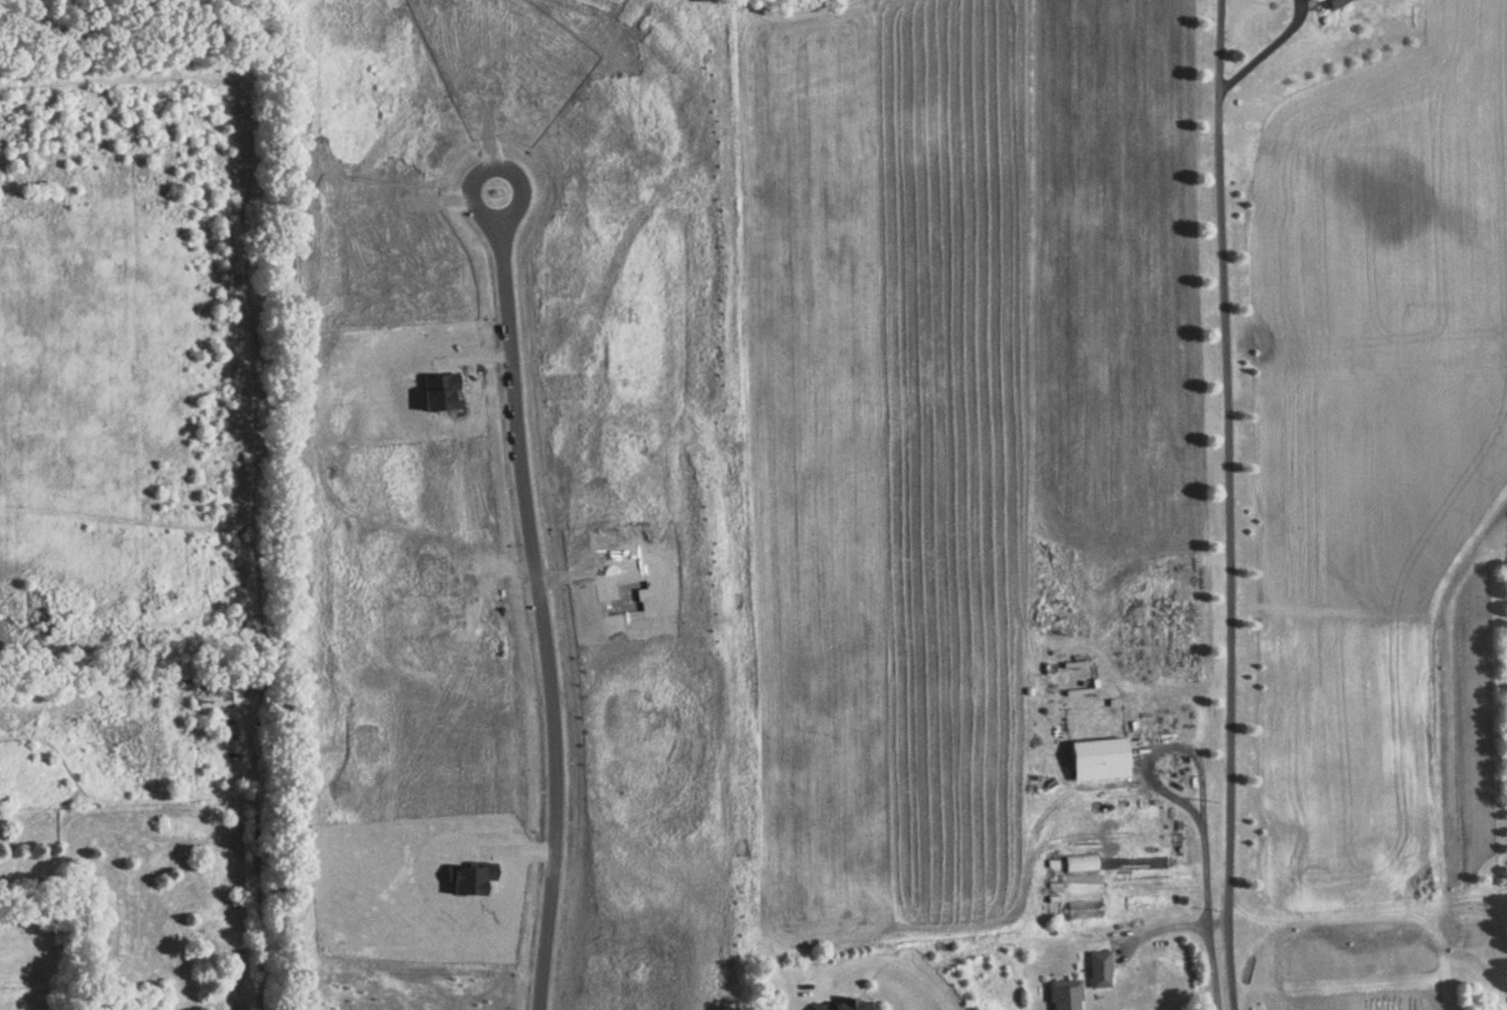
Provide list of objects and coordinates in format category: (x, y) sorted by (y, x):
building: (1331, 3)
road: (1264, 49)
road: (1217, 64)
road: (493, 163)
road: (1227, 569)
road: (542, 613)
building: (211, 693)
building: (1096, 759)
road: (1153, 787)
building: (1082, 863)
building: (1084, 909)
road: (1215, 920)
road: (1161, 926)
road: (893, 961)
road: (1211, 965)
building: (1096, 968)
road: (819, 986)
road: (808, 988)
building: (1062, 994)
building: (836, 1004)

